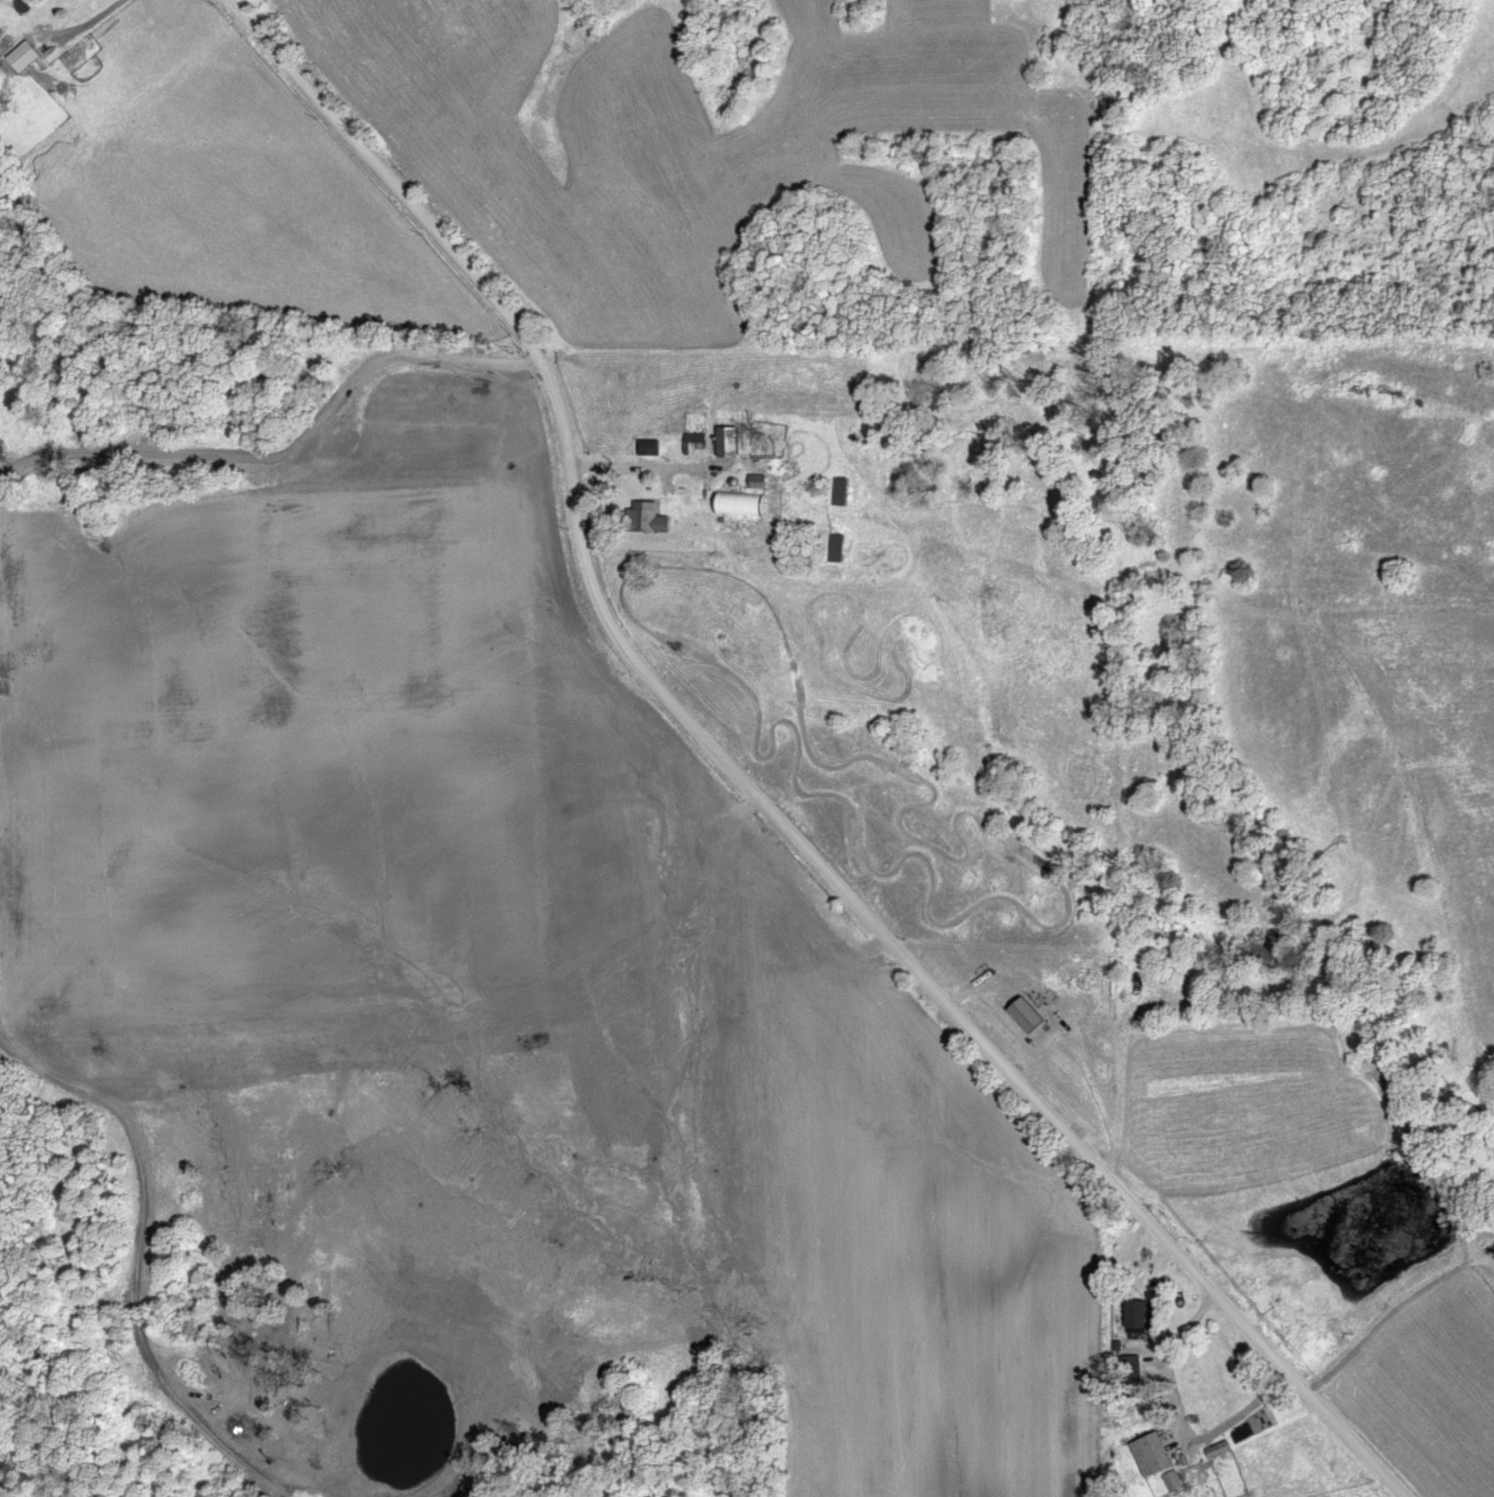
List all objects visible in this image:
road: (98, 19)
building: (27, 58)
building: (698, 442)
building: (732, 442)
building: (651, 449)
road: (651, 464)
building: (743, 505)
building: (654, 519)
road: (748, 789)
building: (1032, 1017)
building: (1144, 1315)
building: (1223, 1450)
building: (1156, 1456)
building: (1177, 1483)

